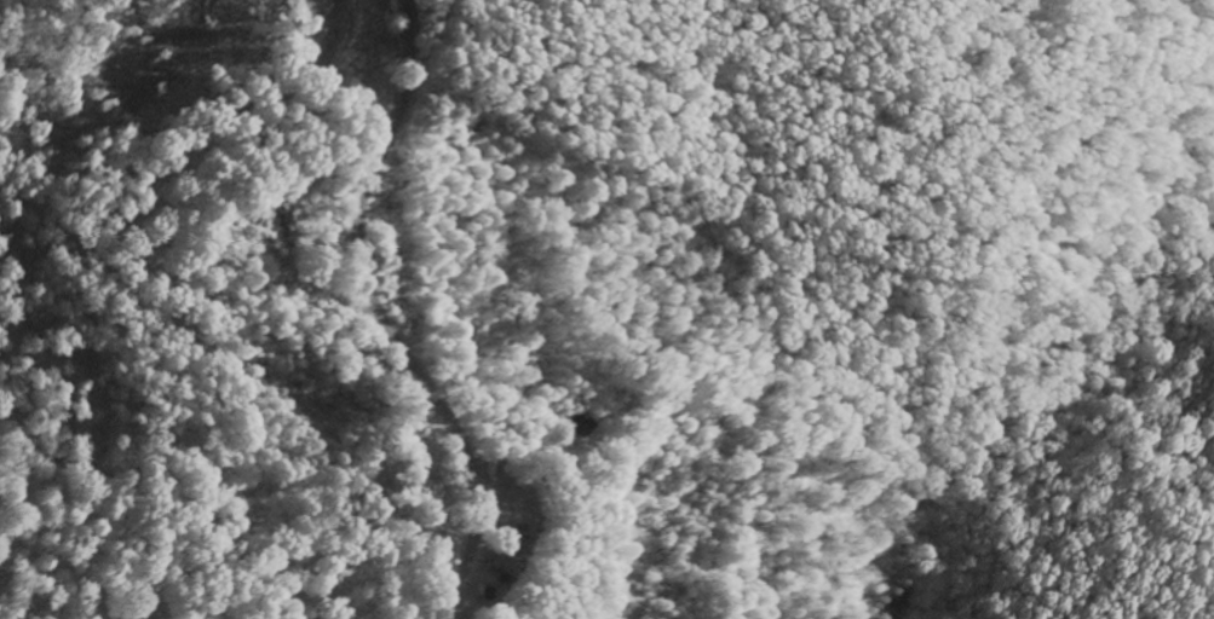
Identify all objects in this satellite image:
road: (378, 320)
building: (511, 557)

